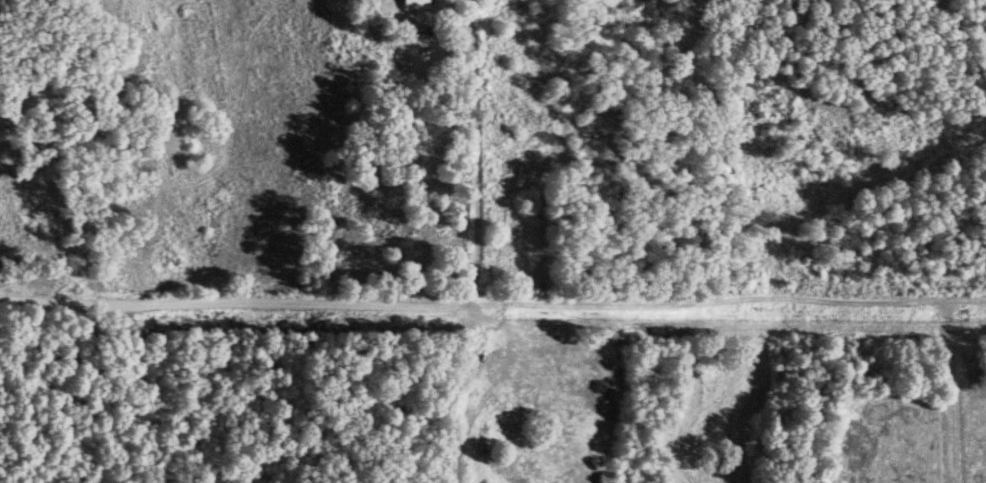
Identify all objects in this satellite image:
building: (413, 5)
road: (475, 157)
road: (790, 294)
road: (224, 302)
road: (949, 482)

